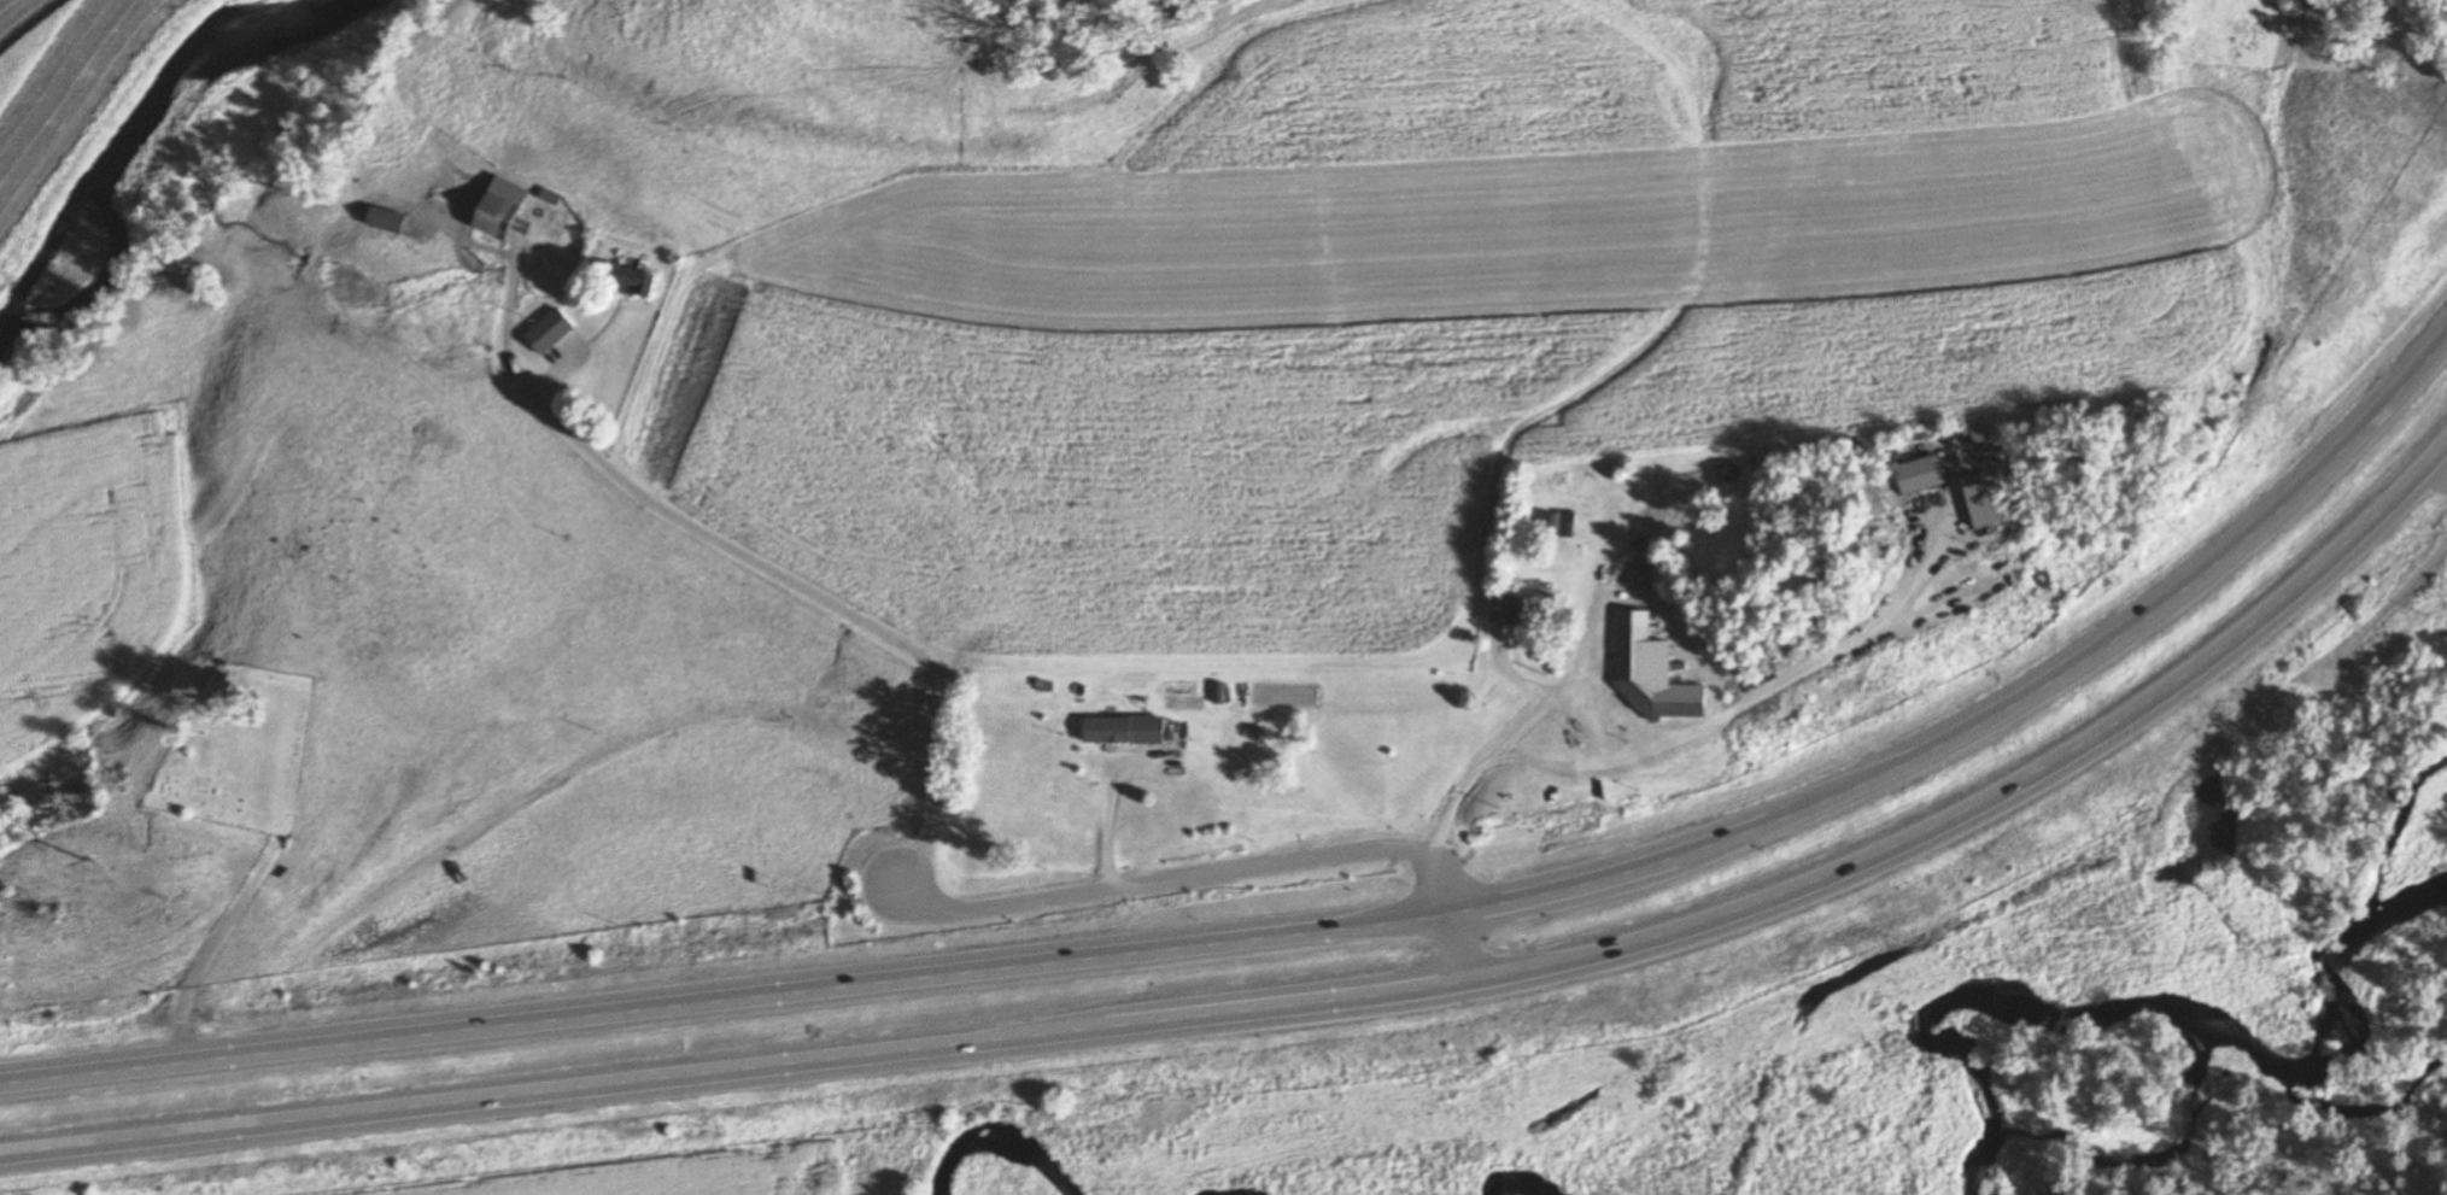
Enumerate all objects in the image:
river: (125, 158)
building: (503, 210)
building: (391, 222)
building: (638, 282)
building: (550, 333)
road: (2440, 473)
building: (1925, 478)
building: (1989, 500)
road: (751, 561)
building: (1524, 609)
road: (1574, 654)
building: (1651, 672)
road: (2295, 686)
road: (1769, 698)
building: (1125, 731)
park: (236, 752)
road: (1111, 806)
road: (1222, 869)
road: (1310, 935)
road: (216, 950)
road: (1299, 1004)

